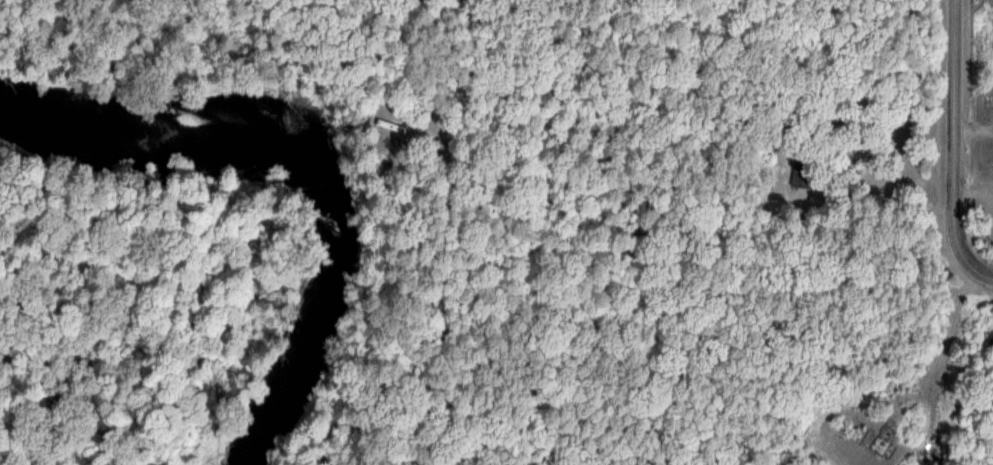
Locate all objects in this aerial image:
river: (15, 105)
road: (959, 145)
river: (319, 170)
building: (798, 179)

